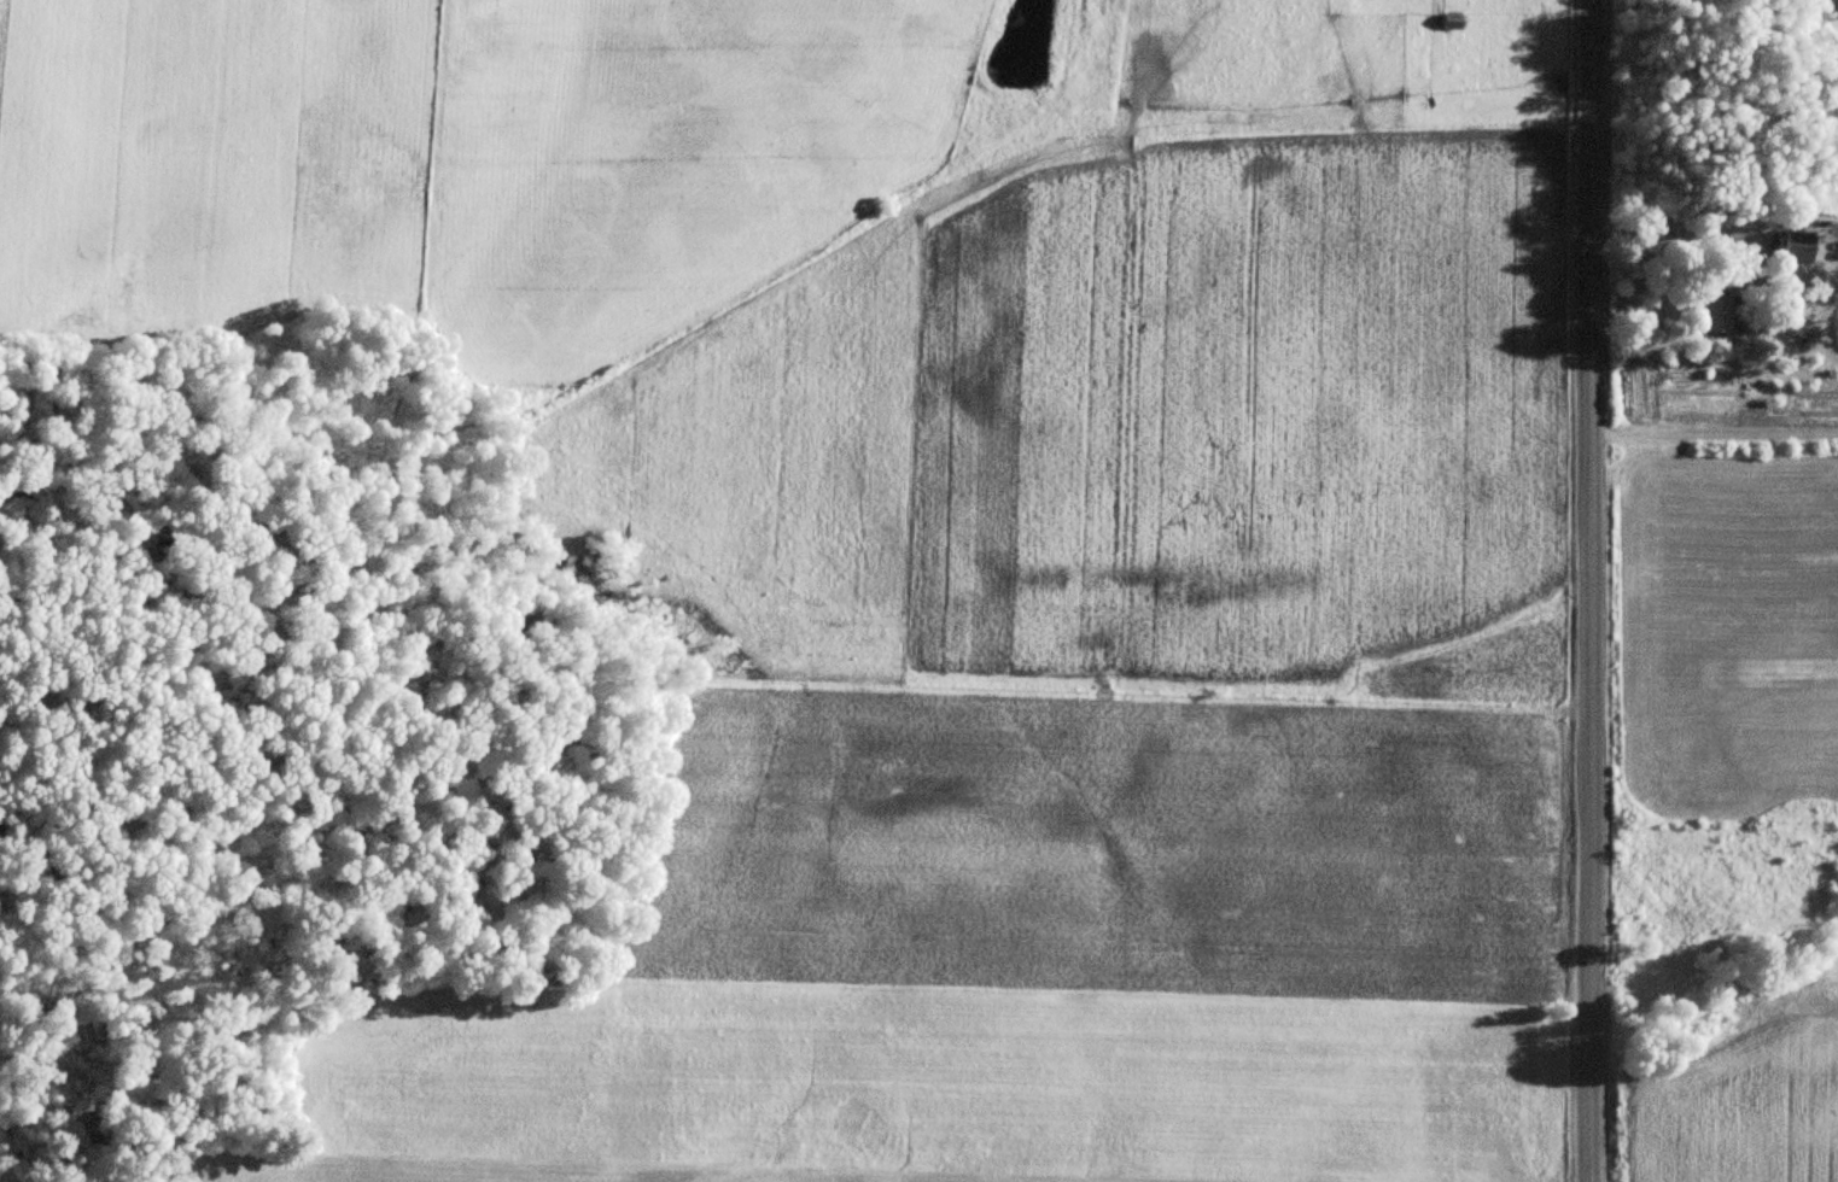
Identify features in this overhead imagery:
building: (1797, 246)
road: (1574, 591)

